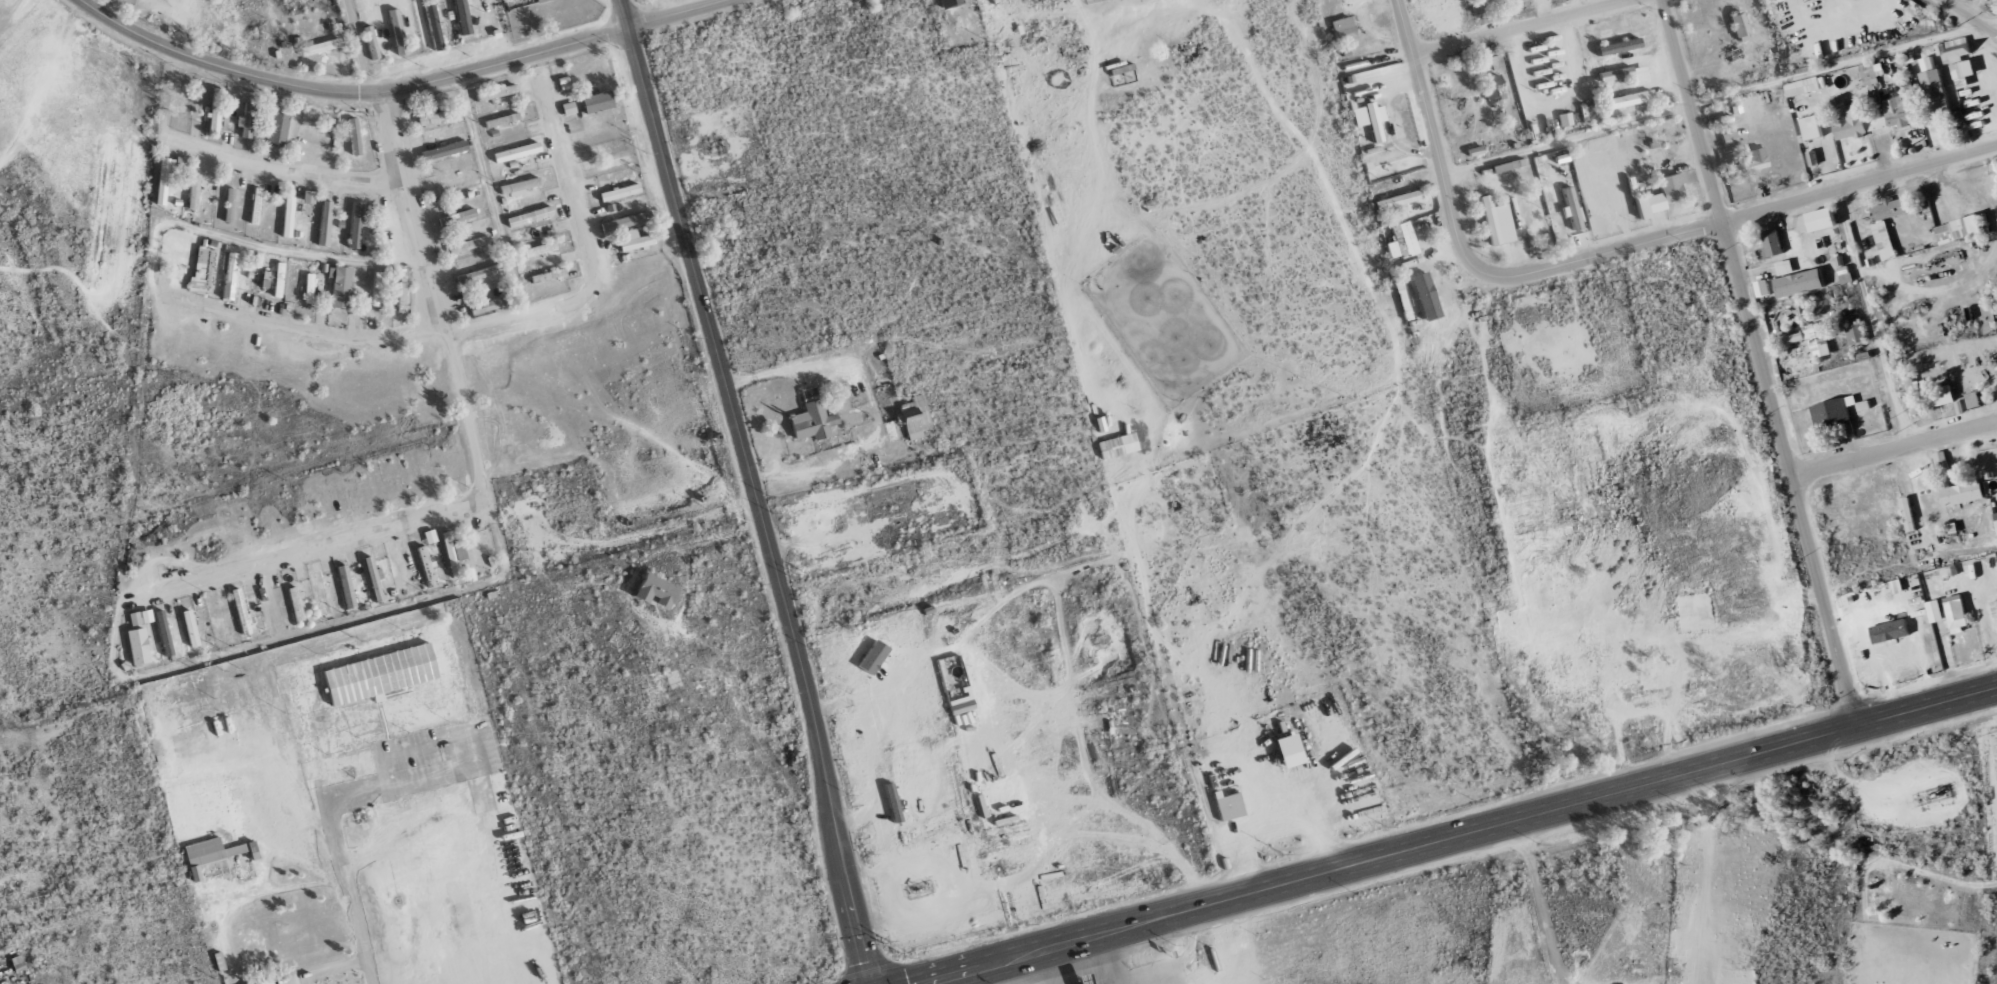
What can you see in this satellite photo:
building: (1487, 0)
building: (541, 1)
building: (949, 3)
road: (678, 14)
road: (1972, 15)
building: (462, 17)
building: (433, 26)
building: (1740, 27)
building: (1342, 29)
road: (1521, 29)
building: (397, 32)
road: (363, 46)
building: (319, 47)
building: (372, 47)
building: (1618, 47)
building: (1872, 73)
building: (1962, 75)
building: (1640, 76)
building: (1803, 87)
building: (1493, 88)
road: (38, 90)
building: (1935, 90)
road: (349, 93)
building: (495, 93)
building: (1630, 99)
building: (597, 102)
building: (567, 109)
road: (1426, 109)
building: (1901, 110)
building: (1358, 117)
building: (214, 118)
building: (430, 119)
building: (501, 120)
building: (1564, 120)
building: (246, 121)
building: (1855, 121)
building: (1373, 122)
building: (1814, 128)
building: (277, 130)
building: (354, 137)
building: (1729, 139)
building: (443, 150)
building: (516, 152)
building: (1748, 162)
building: (614, 163)
road: (285, 172)
building: (163, 179)
building: (519, 187)
building: (193, 192)
building: (619, 193)
road: (490, 195)
building: (1661, 196)
building: (1397, 201)
building: (229, 205)
building: (255, 206)
building: (1571, 209)
building: (1890, 209)
building: (530, 216)
building: (287, 217)
building: (458, 217)
building: (623, 222)
building: (1496, 222)
building: (324, 223)
road: (1713, 224)
building: (355, 226)
building: (1960, 230)
building: (633, 241)
building: (1401, 241)
building: (1885, 241)
building: (468, 245)
building: (1772, 245)
building: (539, 249)
building: (1785, 268)
building: (202, 271)
building: (478, 274)
building: (229, 276)
building: (547, 276)
building: (278, 280)
building: (1801, 283)
building: (308, 288)
building: (340, 288)
building: (1763, 288)
building: (376, 289)
building: (401, 295)
building: (486, 306)
road: (1870, 318)
road: (500, 322)
park: (68, 328)
building: (1856, 334)
building: (1819, 340)
road: (1762, 364)
building: (1941, 396)
building: (1835, 411)
building: (812, 420)
road: (1894, 450)
building: (1942, 461)
road: (482, 463)
road: (754, 489)
building: (1996, 520)
building: (429, 536)
building: (453, 553)
building: (327, 567)
building: (426, 567)
building: (373, 579)
building: (345, 587)
building: (656, 591)
building: (320, 593)
building: (295, 604)
building: (1994, 608)
road: (379, 609)
building: (1936, 611)
building: (1957, 611)
building: (140, 617)
building: (190, 628)
building: (1890, 631)
building: (138, 646)
building: (873, 657)
building: (379, 674)
building: (1289, 751)
river: (1620, 788)
building: (1229, 807)
road: (1467, 837)
building: (208, 854)
road: (346, 889)
road: (1539, 903)
road: (1188, 950)
road: (1114, 960)
road: (1040, 970)
building: (1081, 978)
building: (265, 982)

